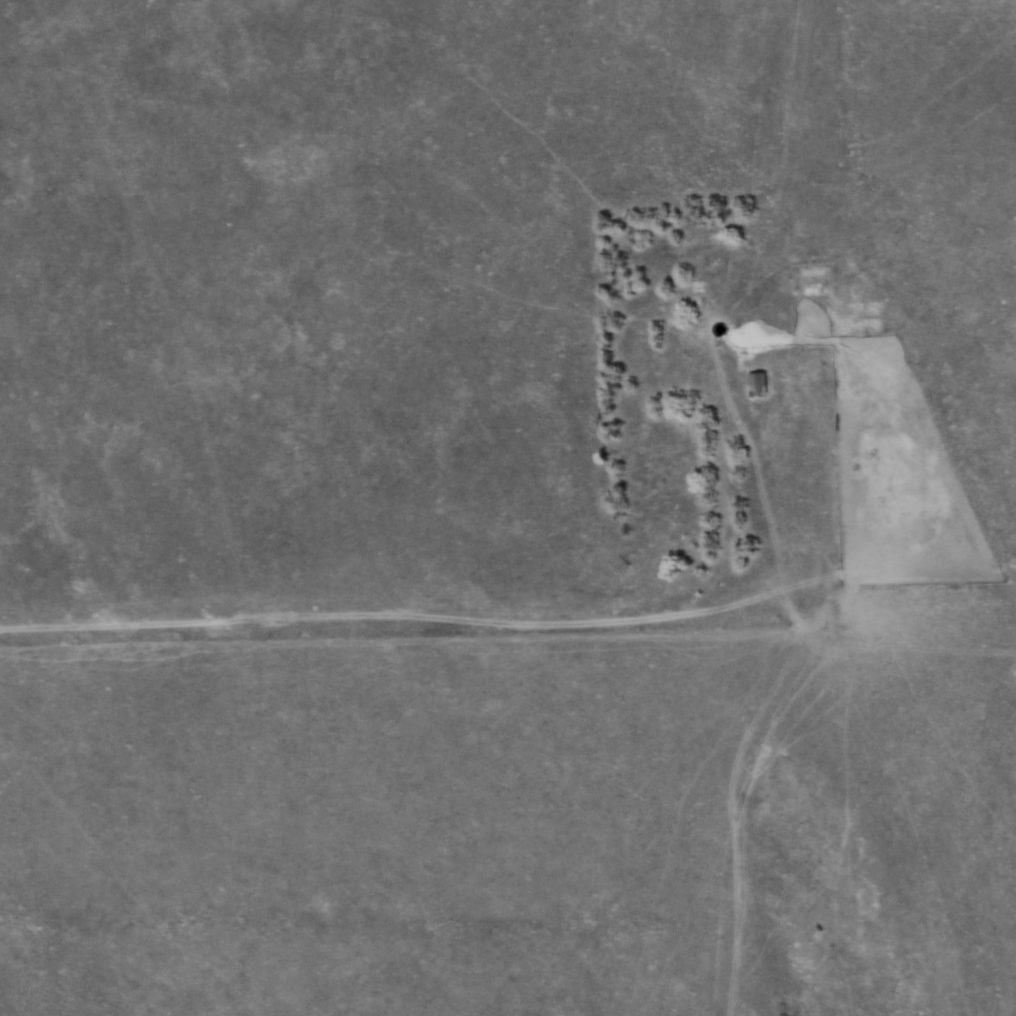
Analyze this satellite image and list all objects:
building: (756, 386)

